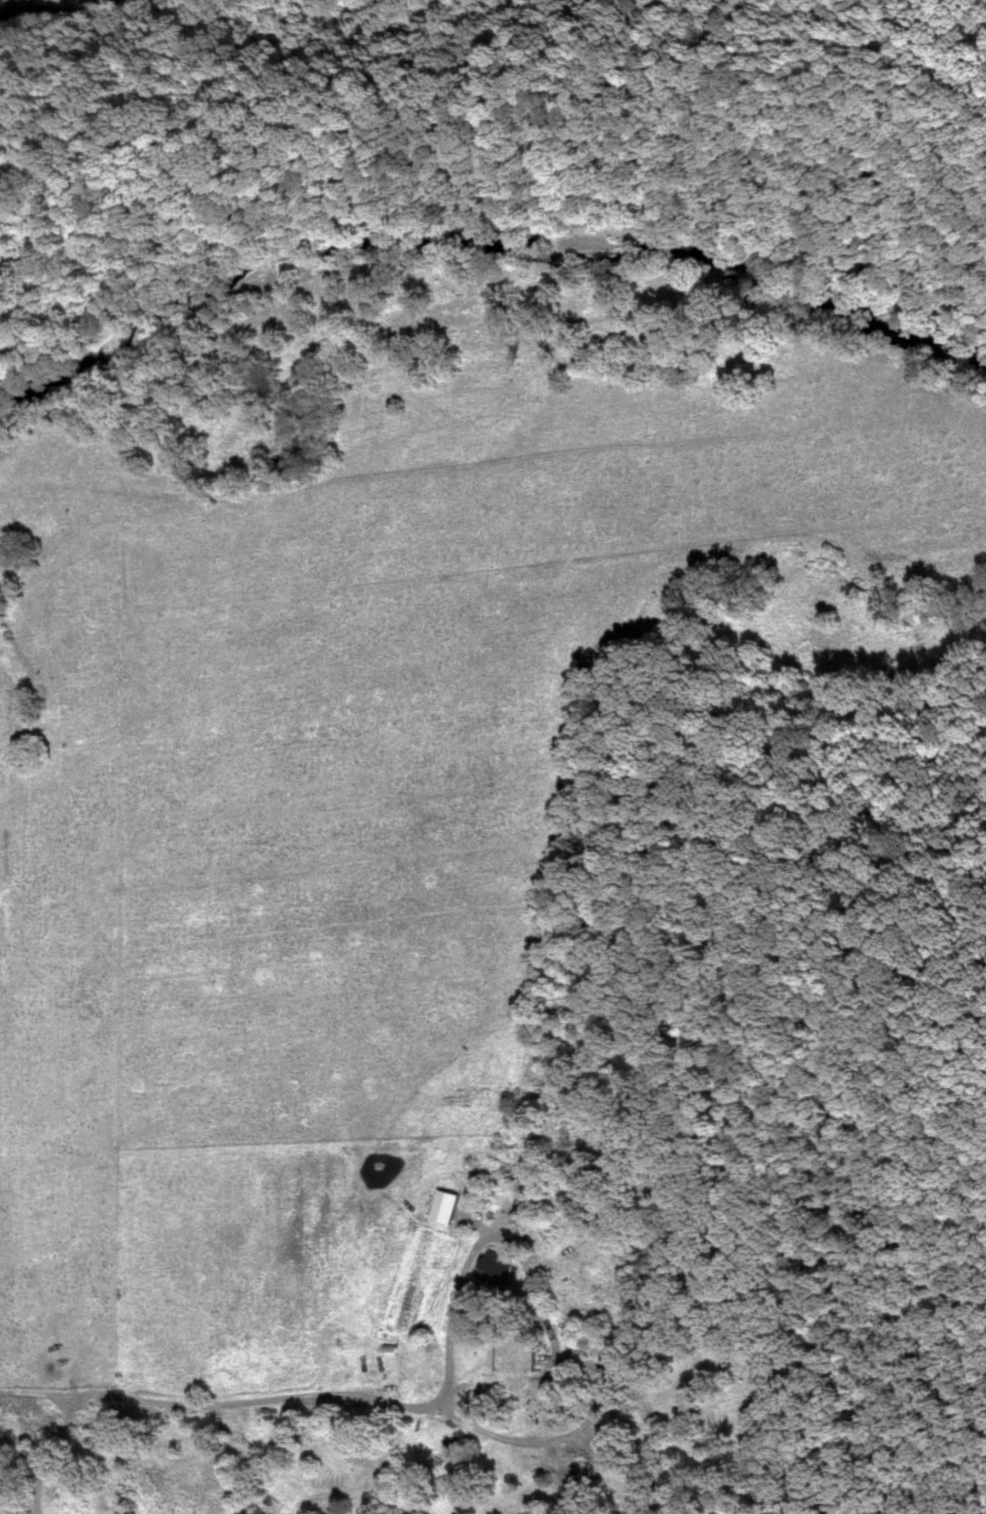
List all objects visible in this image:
building: (460, 1213)
road: (463, 1292)
road: (327, 1400)
road: (55, 1454)

